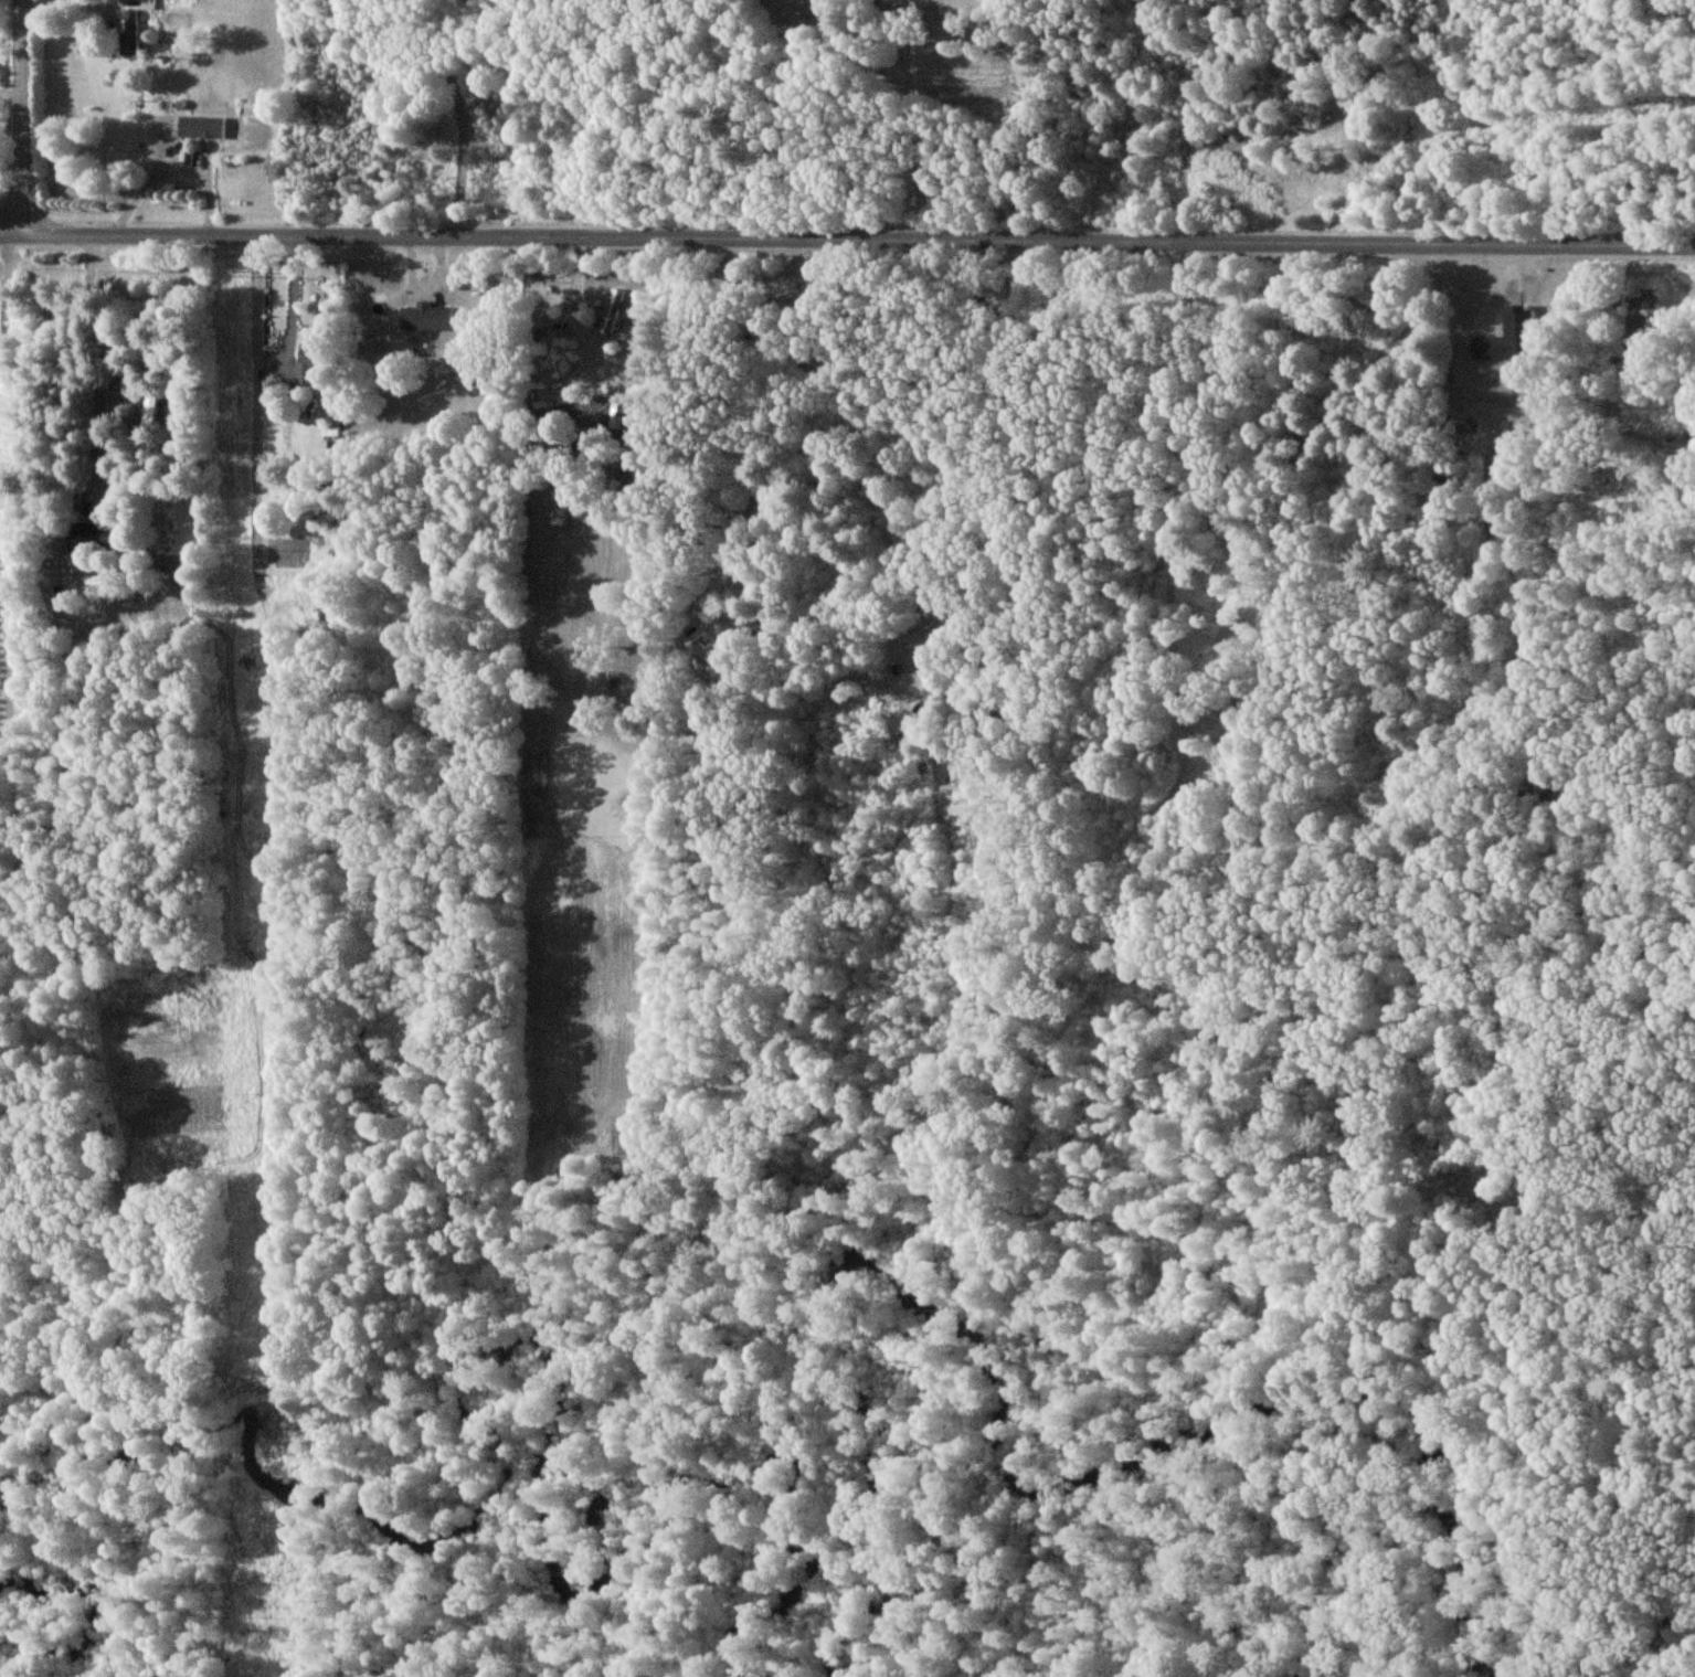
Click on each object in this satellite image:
building: (128, 33)
road: (11, 93)
road: (23, 118)
road: (462, 120)
road: (1413, 124)
building: (199, 127)
road: (847, 243)
building: (608, 312)
building: (1642, 315)
building: (423, 318)
building: (1505, 339)
road: (93, 362)
building: (306, 362)
road: (752, 402)
building: (616, 416)
road: (974, 444)
building: (88, 535)

